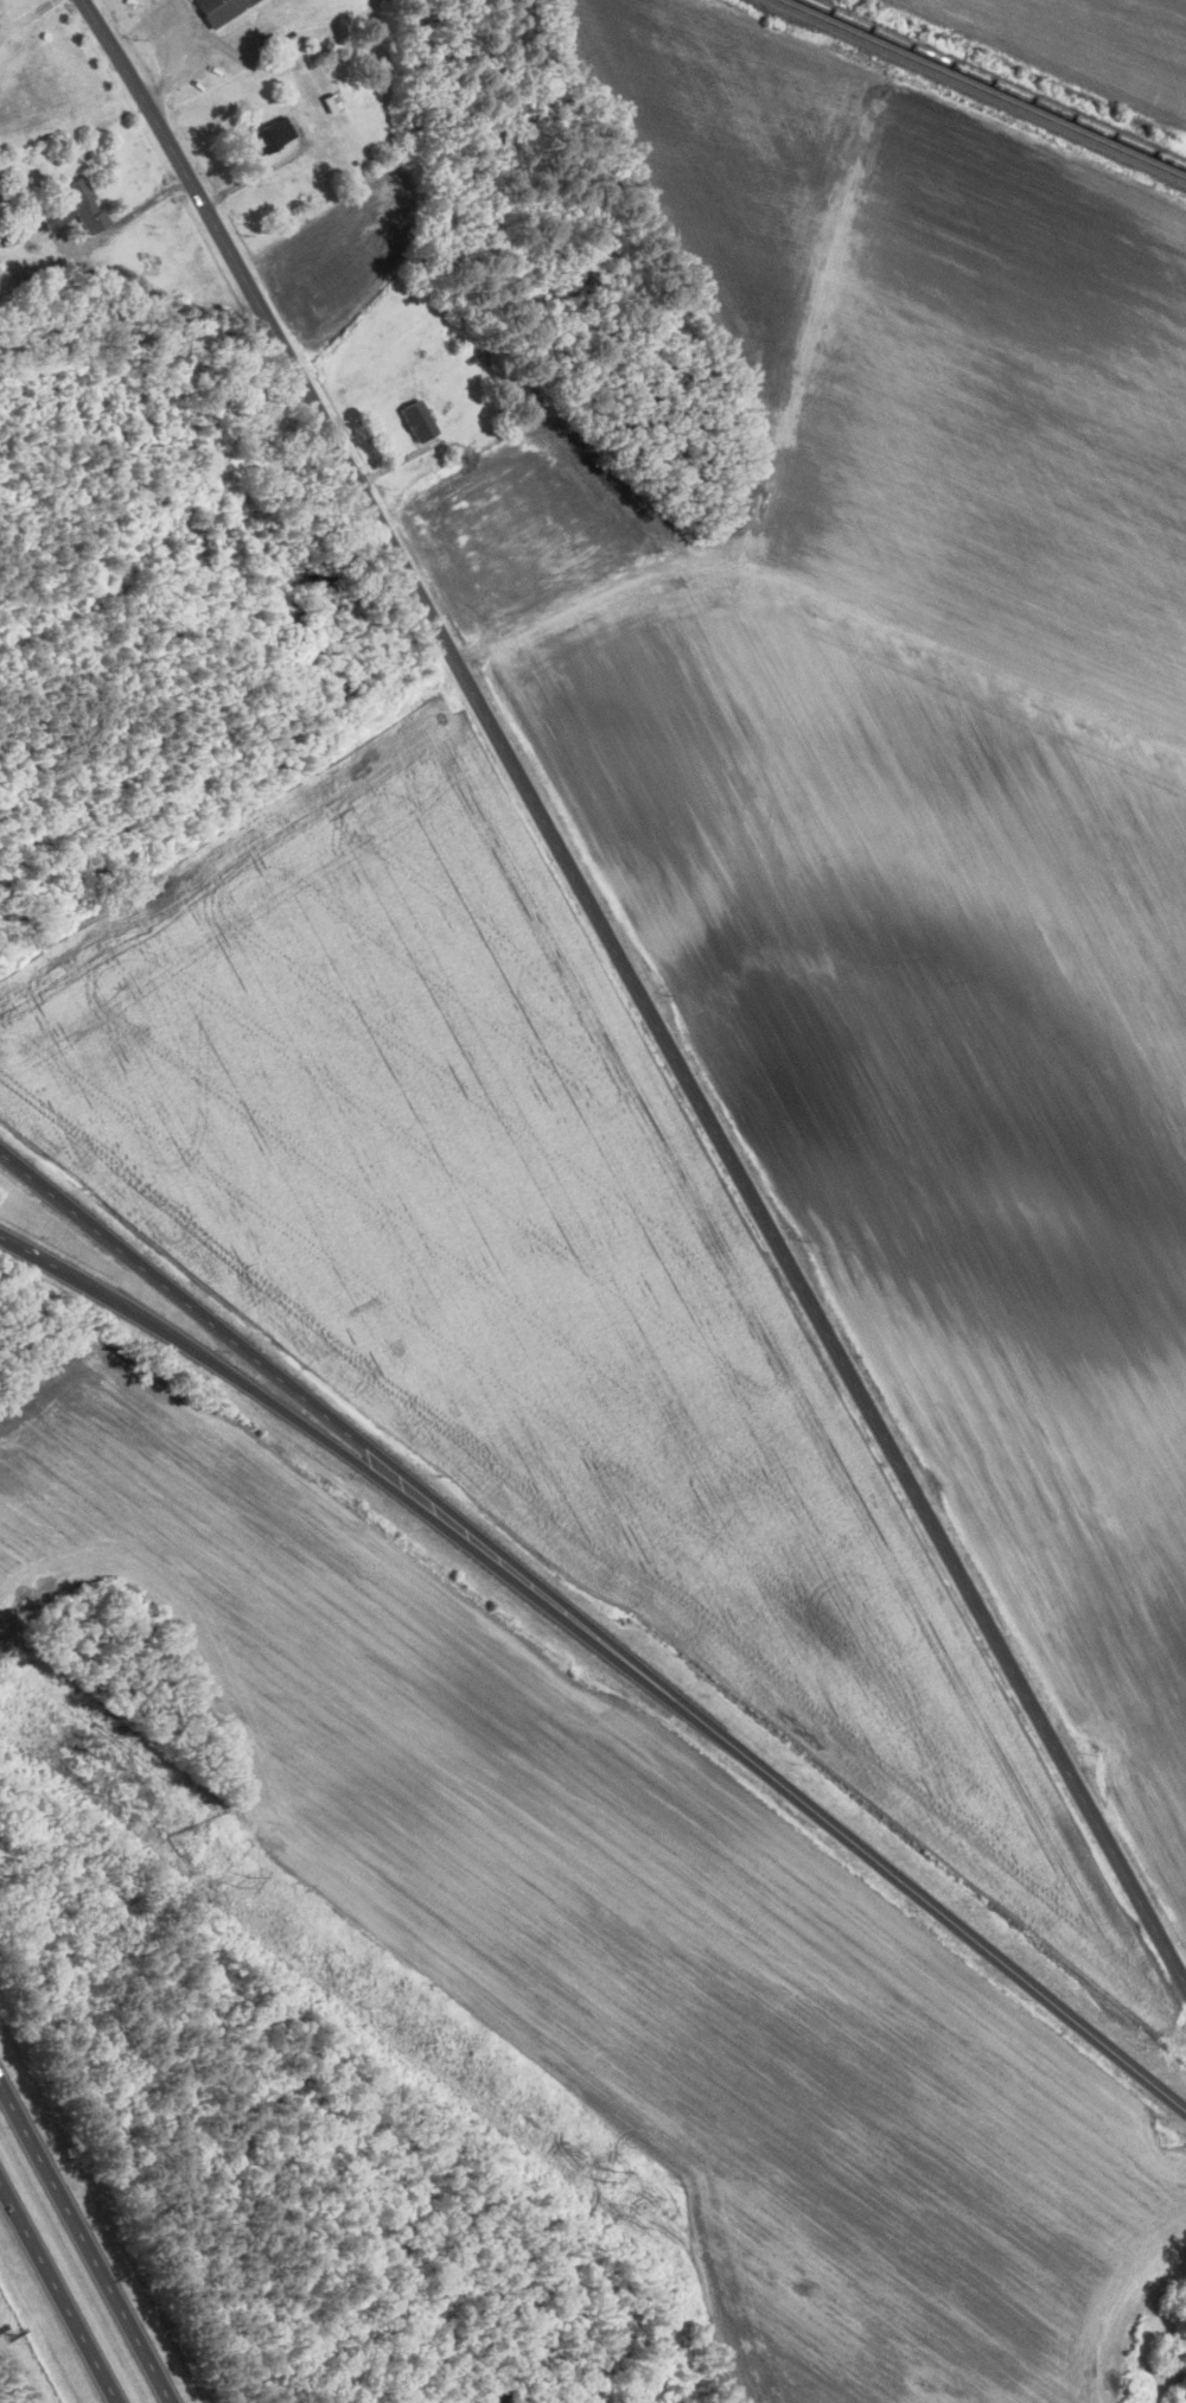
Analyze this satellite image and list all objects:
building: (222, 9)
railway: (995, 82)
railway: (981, 89)
building: (274, 138)
building: (77, 210)
building: (420, 422)
road: (637, 990)
road: (311, 1402)
road: (318, 1433)
road: (903, 1882)
power tower: (246, 1886)
power tower: (613, 2179)
road: (85, 2243)
road: (57, 2292)

